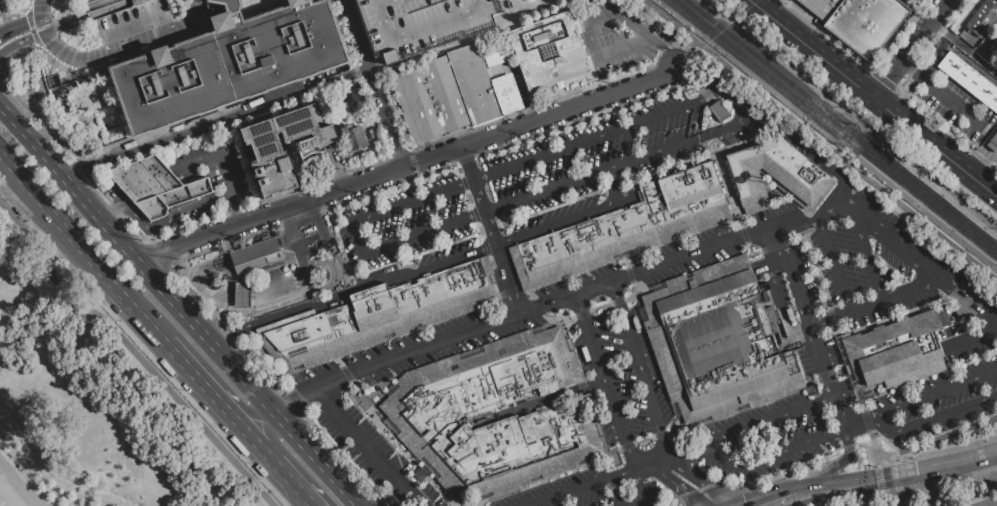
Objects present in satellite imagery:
building: (286, 0)
building: (790, 1)
building: (808, 3)
road: (98, 4)
building: (228, 4)
building: (824, 8)
road: (28, 10)
road: (917, 12)
road: (41, 15)
road: (89, 16)
road: (623, 16)
building: (982, 18)
building: (418, 23)
parking lot: (418, 23)
road: (20, 24)
road: (141, 24)
building: (865, 24)
road: (159, 37)
road: (22, 40)
road: (621, 48)
road: (815, 48)
road: (915, 48)
road: (965, 49)
road: (108, 51)
building: (547, 51)
road: (685, 54)
road: (67, 56)
road: (669, 56)
building: (498, 57)
building: (226, 63)
road: (911, 68)
road: (702, 71)
building: (969, 80)
road: (371, 84)
building: (473, 85)
road: (316, 86)
road: (892, 87)
building: (507, 94)
building: (446, 95)
road: (605, 95)
building: (353, 97)
road: (953, 101)
parking lot: (953, 103)
building: (417, 105)
building: (718, 111)
railway: (841, 123)
railway: (833, 128)
road: (947, 130)
road: (187, 131)
road: (789, 136)
building: (355, 138)
building: (226, 140)
road: (819, 141)
road: (937, 143)
building: (993, 143)
building: (267, 150)
parking lot: (988, 154)
road: (216, 157)
road: (84, 167)
road: (336, 167)
building: (775, 174)
building: (144, 178)
parking lot: (543, 179)
road: (726, 184)
railway: (934, 189)
road: (335, 192)
road: (37, 197)
building: (172, 199)
road: (234, 210)
railway: (927, 211)
road: (160, 226)
building: (624, 227)
road: (491, 229)
road: (291, 232)
road: (767, 232)
road: (322, 235)
road: (285, 239)
road: (503, 243)
road: (779, 248)
road: (359, 249)
road: (253, 250)
building: (254, 254)
road: (866, 257)
road: (833, 263)
road: (194, 280)
road: (282, 284)
road: (910, 289)
road: (122, 291)
building: (240, 294)
road: (303, 294)
road: (240, 295)
road: (783, 300)
road: (539, 306)
road: (180, 307)
road: (213, 307)
building: (949, 309)
road: (298, 310)
building: (941, 311)
building: (378, 315)
road: (830, 317)
road: (204, 319)
road: (974, 336)
road: (229, 339)
parking lot: (447, 339)
building: (716, 342)
building: (894, 351)
road: (130, 357)
road: (640, 370)
road: (211, 390)
road: (936, 390)
park: (91, 403)
road: (284, 406)
building: (496, 413)
road: (937, 416)
road: (873, 420)
road: (624, 434)
road: (936, 436)
road: (872, 440)
road: (863, 445)
road: (367, 447)
road: (847, 449)
road: (265, 450)
road: (937, 451)
road: (713, 453)
road: (689, 454)
road: (653, 465)
road: (832, 467)
traffic signals: (918, 472)
road: (786, 473)
building: (420, 474)
road: (878, 475)
road: (897, 475)
road: (699, 480)
road: (939, 481)
road: (295, 484)
road: (676, 485)
traffic signals: (847, 485)
road: (14, 486)
road: (640, 488)
traffic signals: (685, 492)
road: (397, 497)
road: (791, 497)
road: (864, 499)
road: (887, 499)
road: (714, 500)
road: (775, 502)
road: (992, 504)

